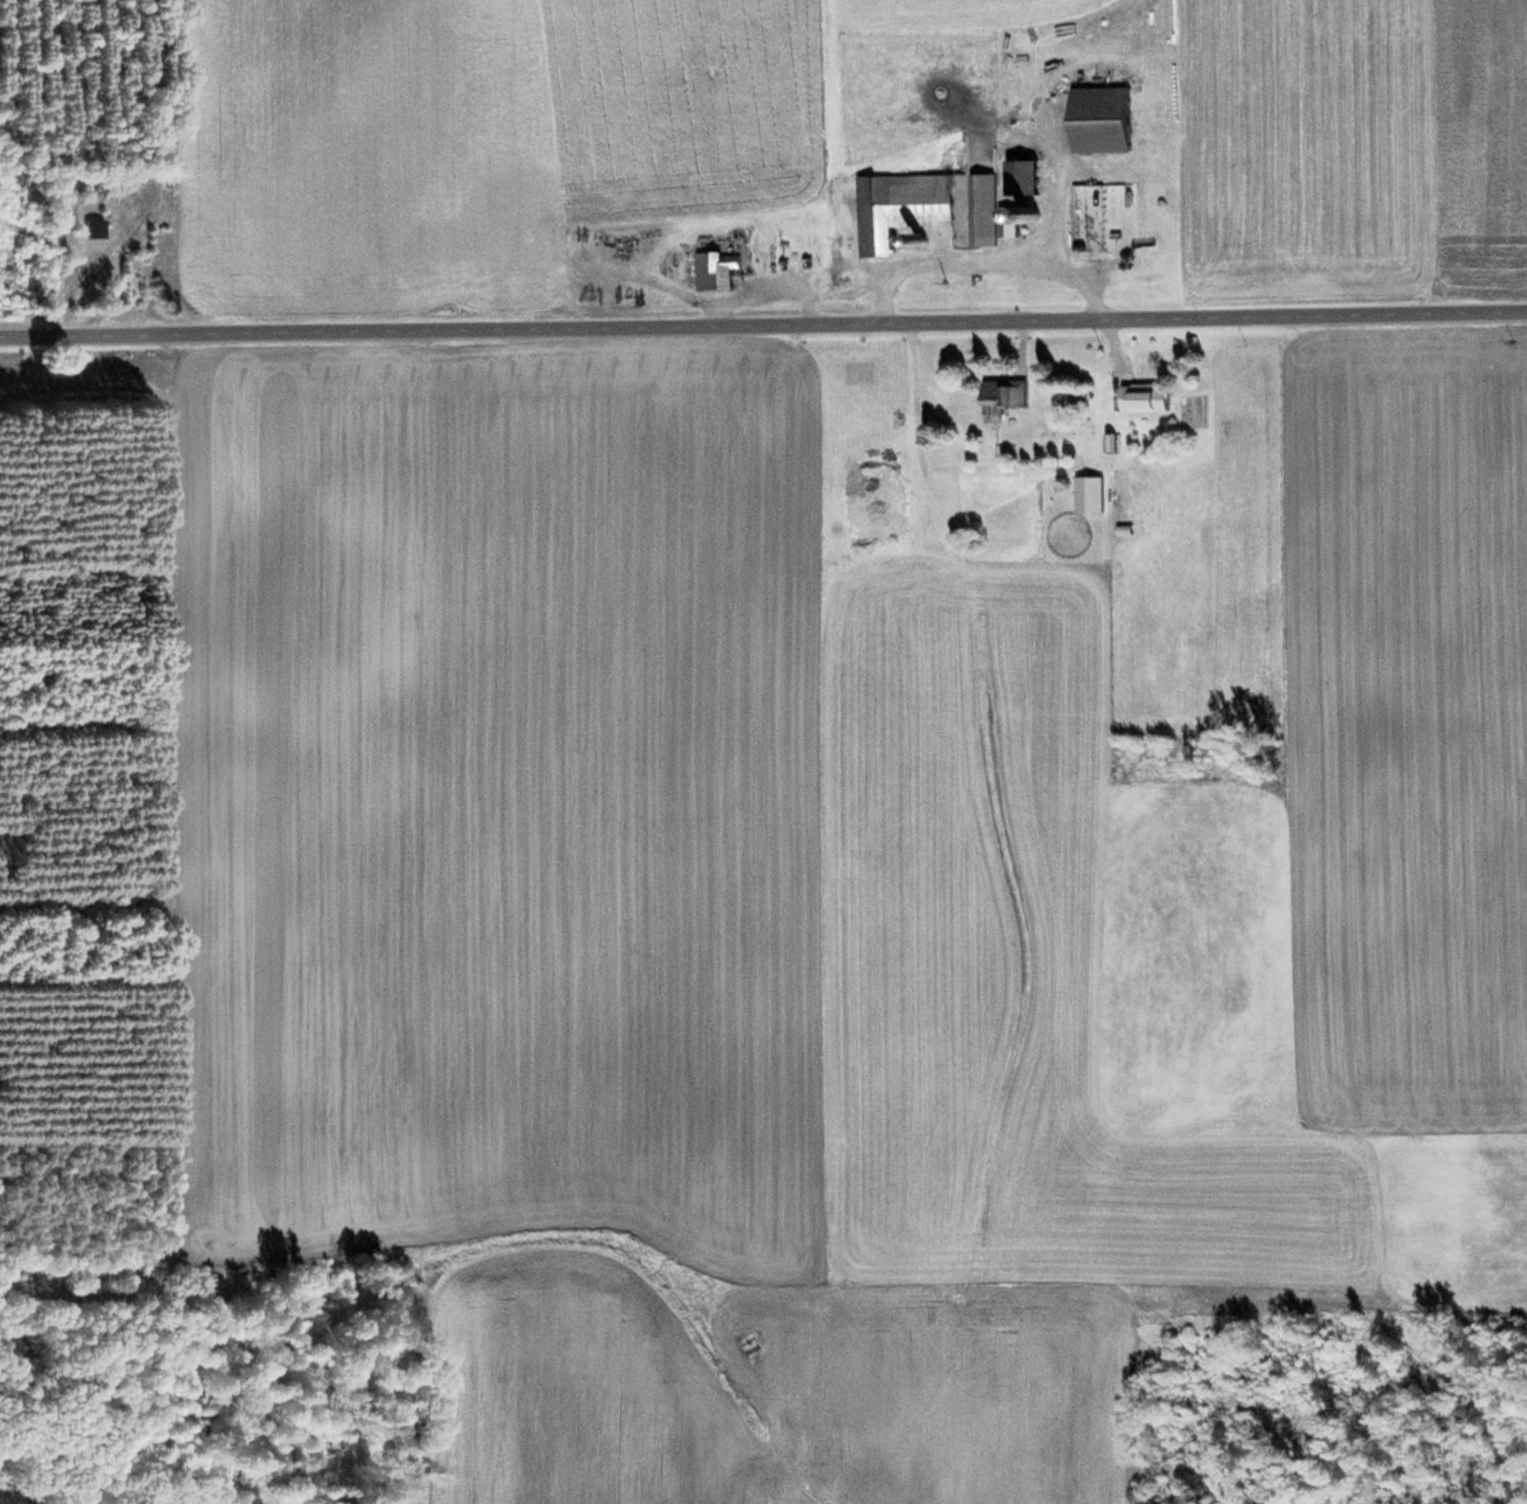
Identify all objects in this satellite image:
building: (1108, 121)
building: (1030, 179)
building: (906, 209)
building: (987, 212)
building: (99, 220)
building: (1020, 222)
building: (94, 229)
building: (721, 273)
road: (763, 322)
building: (1008, 396)
building: (1152, 399)
building: (1094, 500)
road: (180, 792)

